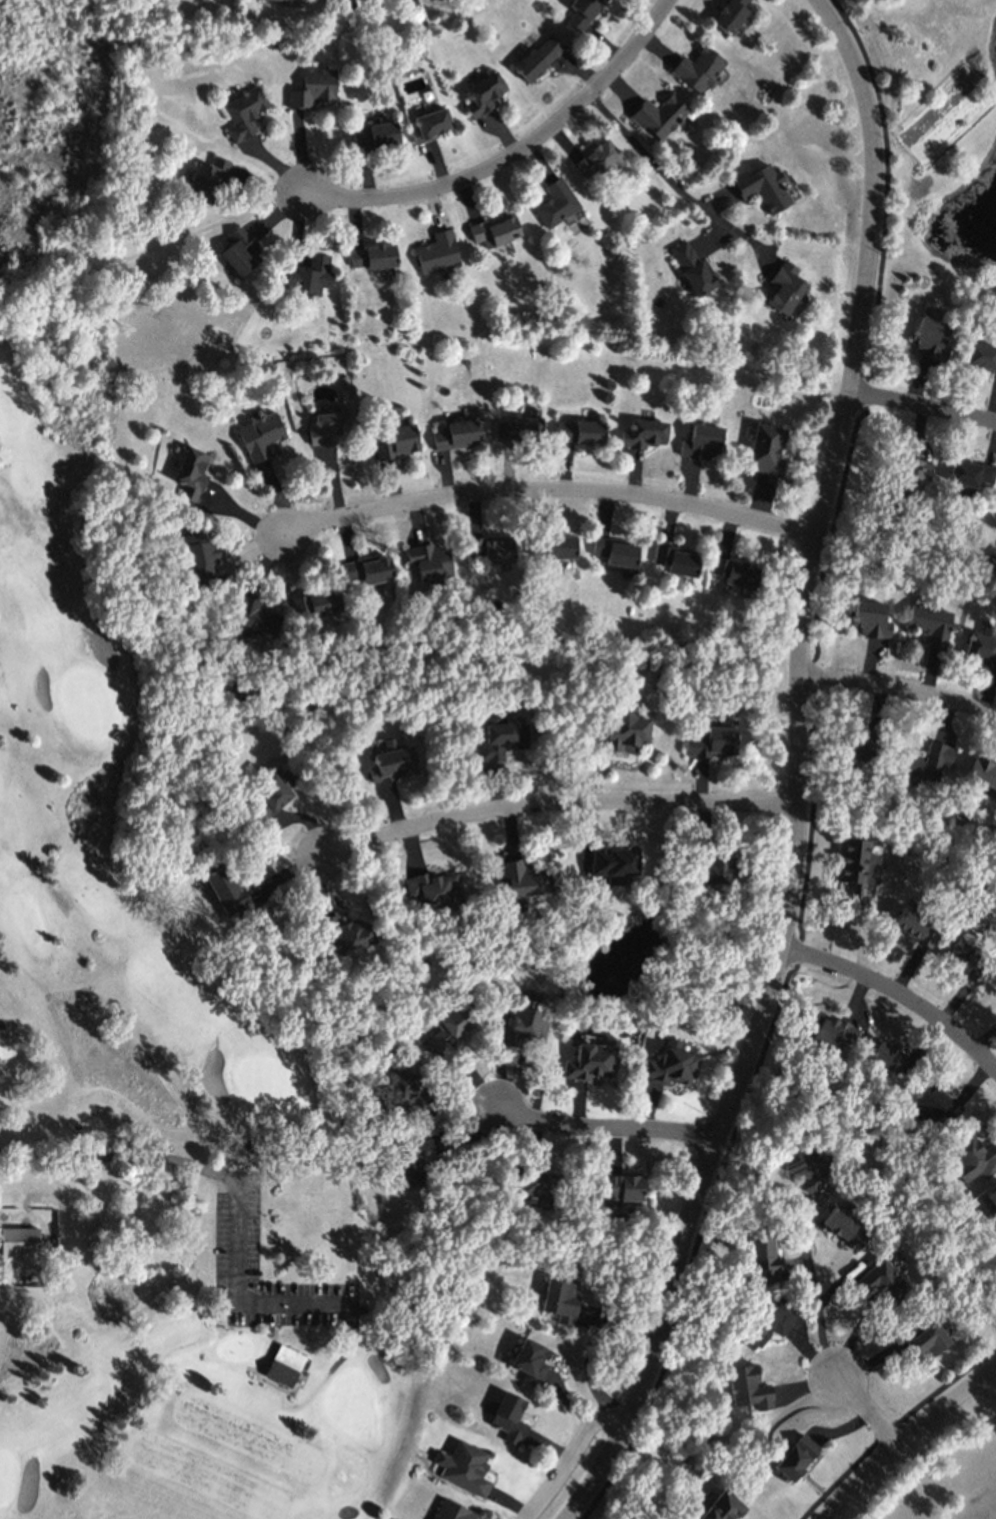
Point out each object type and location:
building: (581, 12)
building: (730, 13)
building: (538, 56)
building: (698, 68)
building: (312, 86)
building: (482, 93)
building: (243, 111)
building: (659, 114)
building: (429, 124)
building: (373, 134)
road: (511, 154)
building: (596, 159)
road: (676, 178)
building: (205, 179)
building: (762, 186)
building: (556, 201)
building: (494, 229)
building: (239, 249)
building: (437, 251)
building: (371, 256)
building: (690, 266)
building: (308, 273)
building: (784, 286)
building: (930, 337)
building: (981, 355)
road: (924, 407)
building: (329, 426)
building: (517, 427)
building: (579, 430)
building: (456, 433)
building: (644, 433)
building: (258, 434)
building: (395, 440)
building: (701, 440)
building: (766, 448)
building: (190, 472)
building: (971, 472)
building: (907, 474)
road: (550, 490)
building: (551, 545)
building: (490, 547)
building: (616, 553)
building: (199, 557)
building: (428, 559)
building: (677, 559)
building: (368, 568)
building: (733, 571)
building: (314, 602)
building: (251, 616)
building: (869, 618)
building: (930, 622)
building: (981, 647)
road: (895, 691)
building: (623, 728)
building: (503, 735)
building: (712, 739)
building: (863, 744)
building: (392, 761)
building: (928, 761)
road: (806, 771)
road: (794, 772)
building: (982, 772)
building: (272, 789)
road: (556, 804)
building: (612, 861)
building: (716, 869)
building: (853, 877)
building: (521, 880)
building: (227, 891)
building: (430, 892)
building: (914, 925)
building: (346, 936)
building: (964, 960)
road: (896, 995)
building: (448, 1021)
building: (522, 1023)
building: (829, 1029)
building: (893, 1058)
building: (590, 1060)
building: (672, 1062)
building: (400, 1089)
building: (935, 1100)
park: (155, 1124)
road: (605, 1131)
building: (973, 1156)
road: (124, 1160)
building: (410, 1161)
building: (806, 1166)
building: (536, 1181)
building: (620, 1186)
building: (993, 1193)
parking lot: (235, 1223)
building: (845, 1225)
building: (18, 1240)
building: (761, 1251)
building: (881, 1280)
building: (559, 1298)
road: (246, 1300)
road: (815, 1307)
building: (764, 1321)
building: (926, 1338)
road: (343, 1352)
building: (530, 1359)
building: (284, 1363)
road: (254, 1373)
building: (748, 1386)
road: (871, 1411)
building: (508, 1416)
road: (890, 1424)
road: (907, 1440)
road: (565, 1454)
building: (796, 1455)
building: (466, 1466)
building: (721, 1506)
building: (451, 1510)

